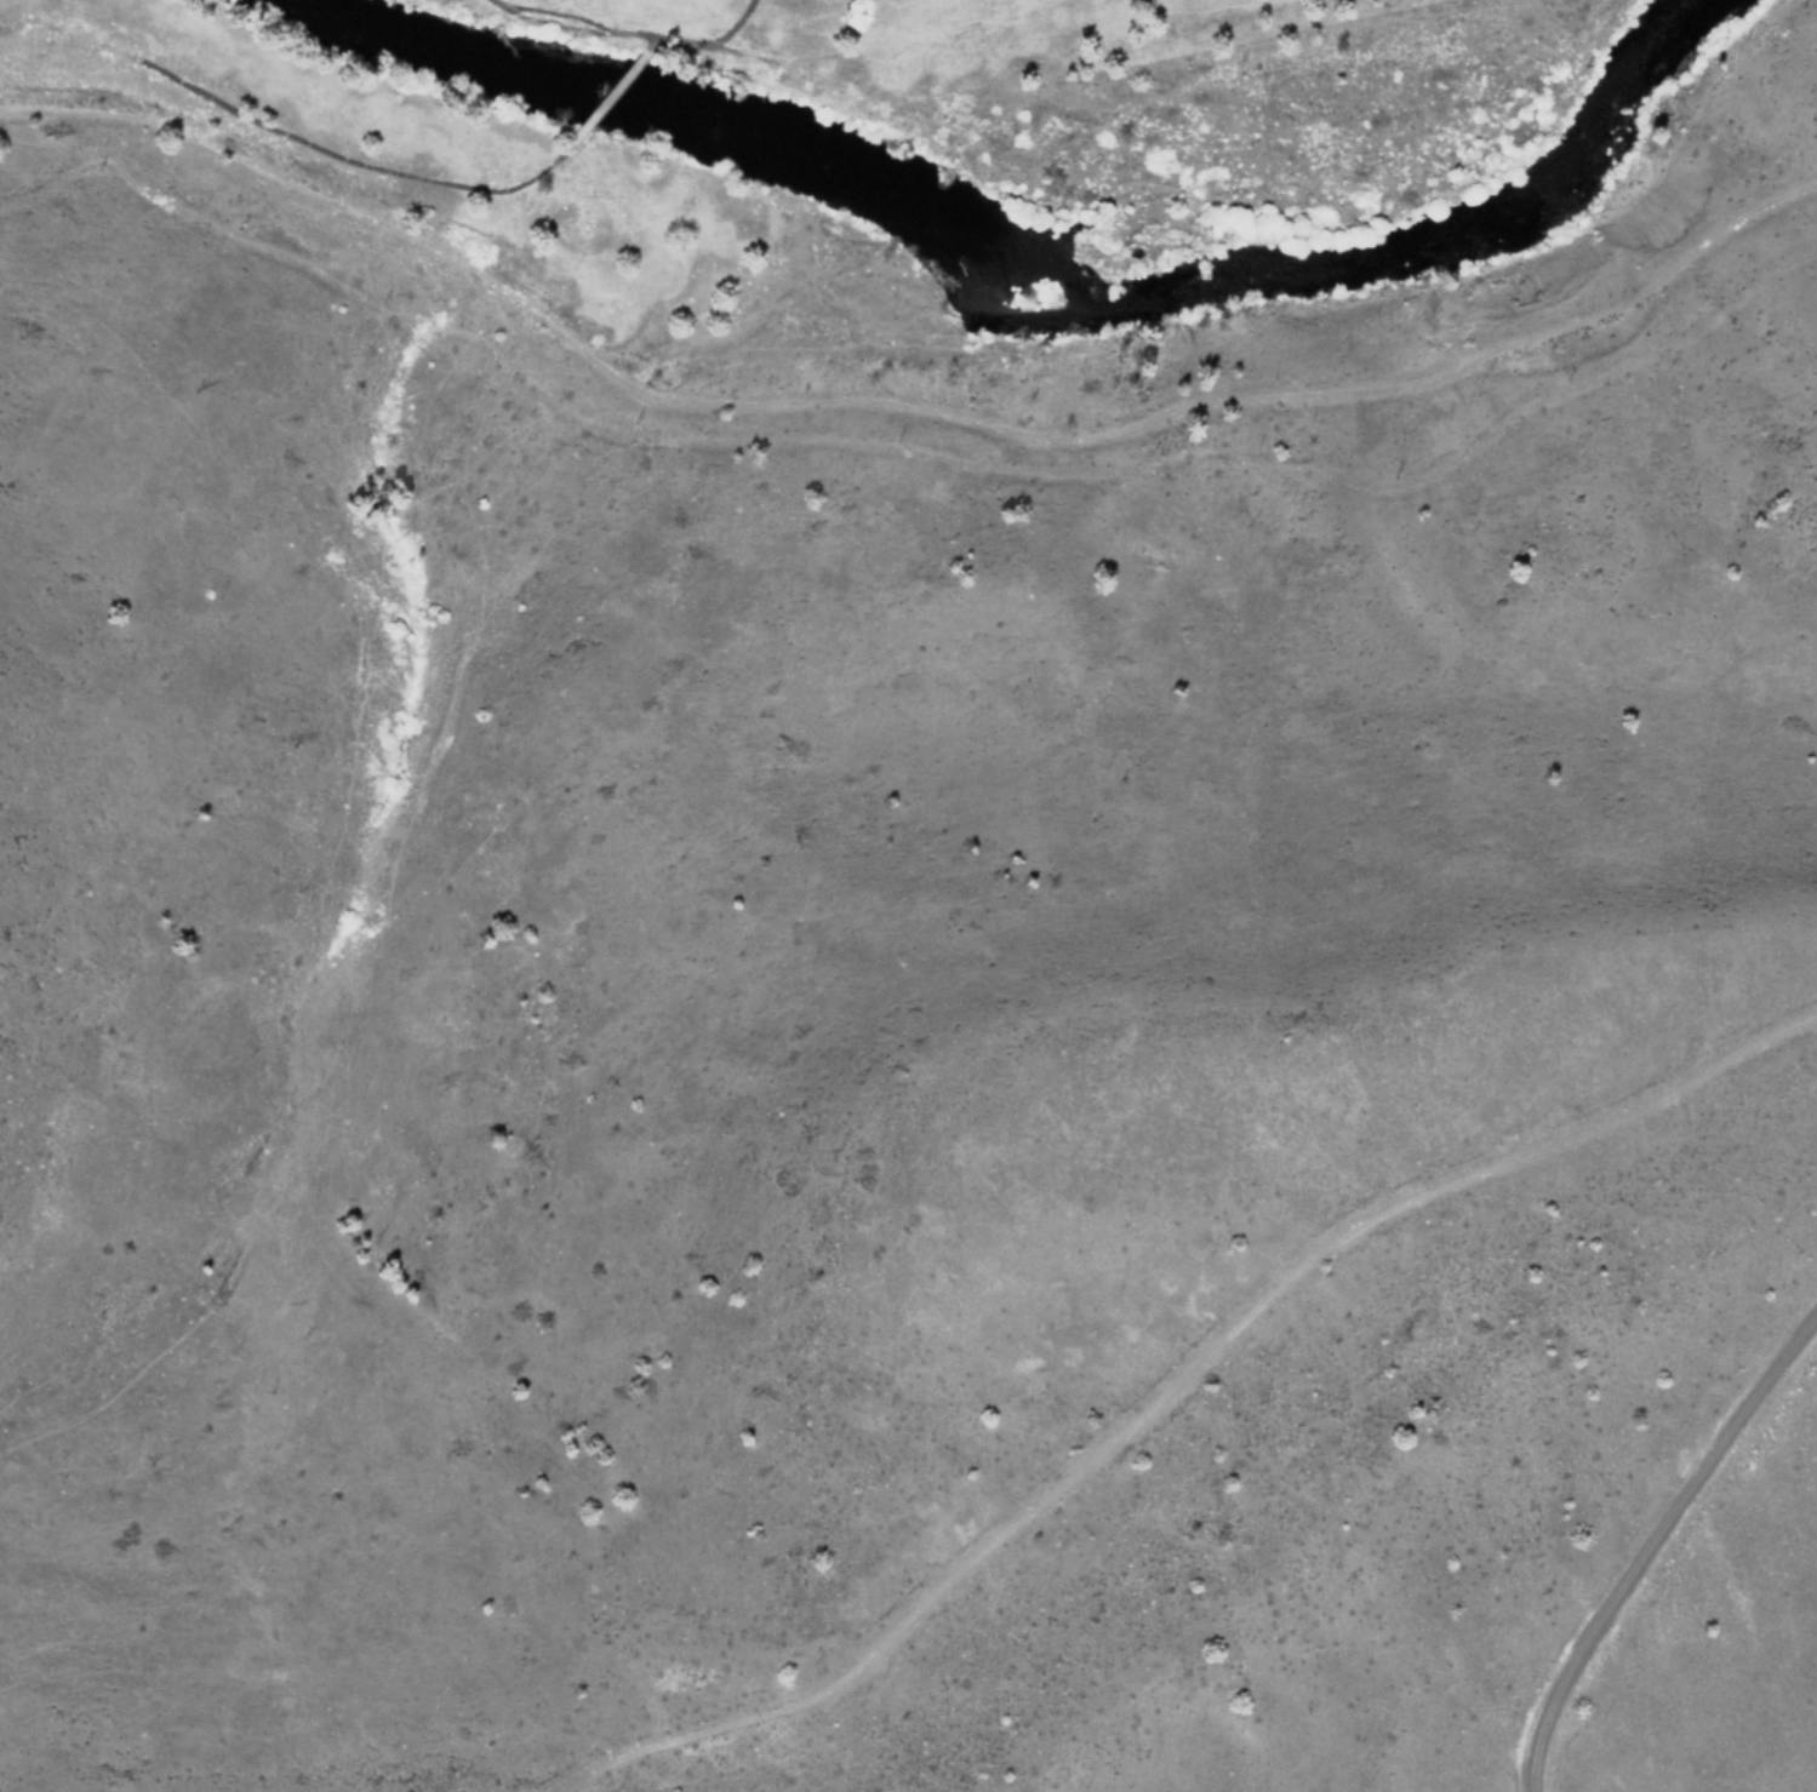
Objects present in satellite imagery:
park: (592, 105)
river: (1039, 273)
road: (905, 403)
road: (1652, 1541)

